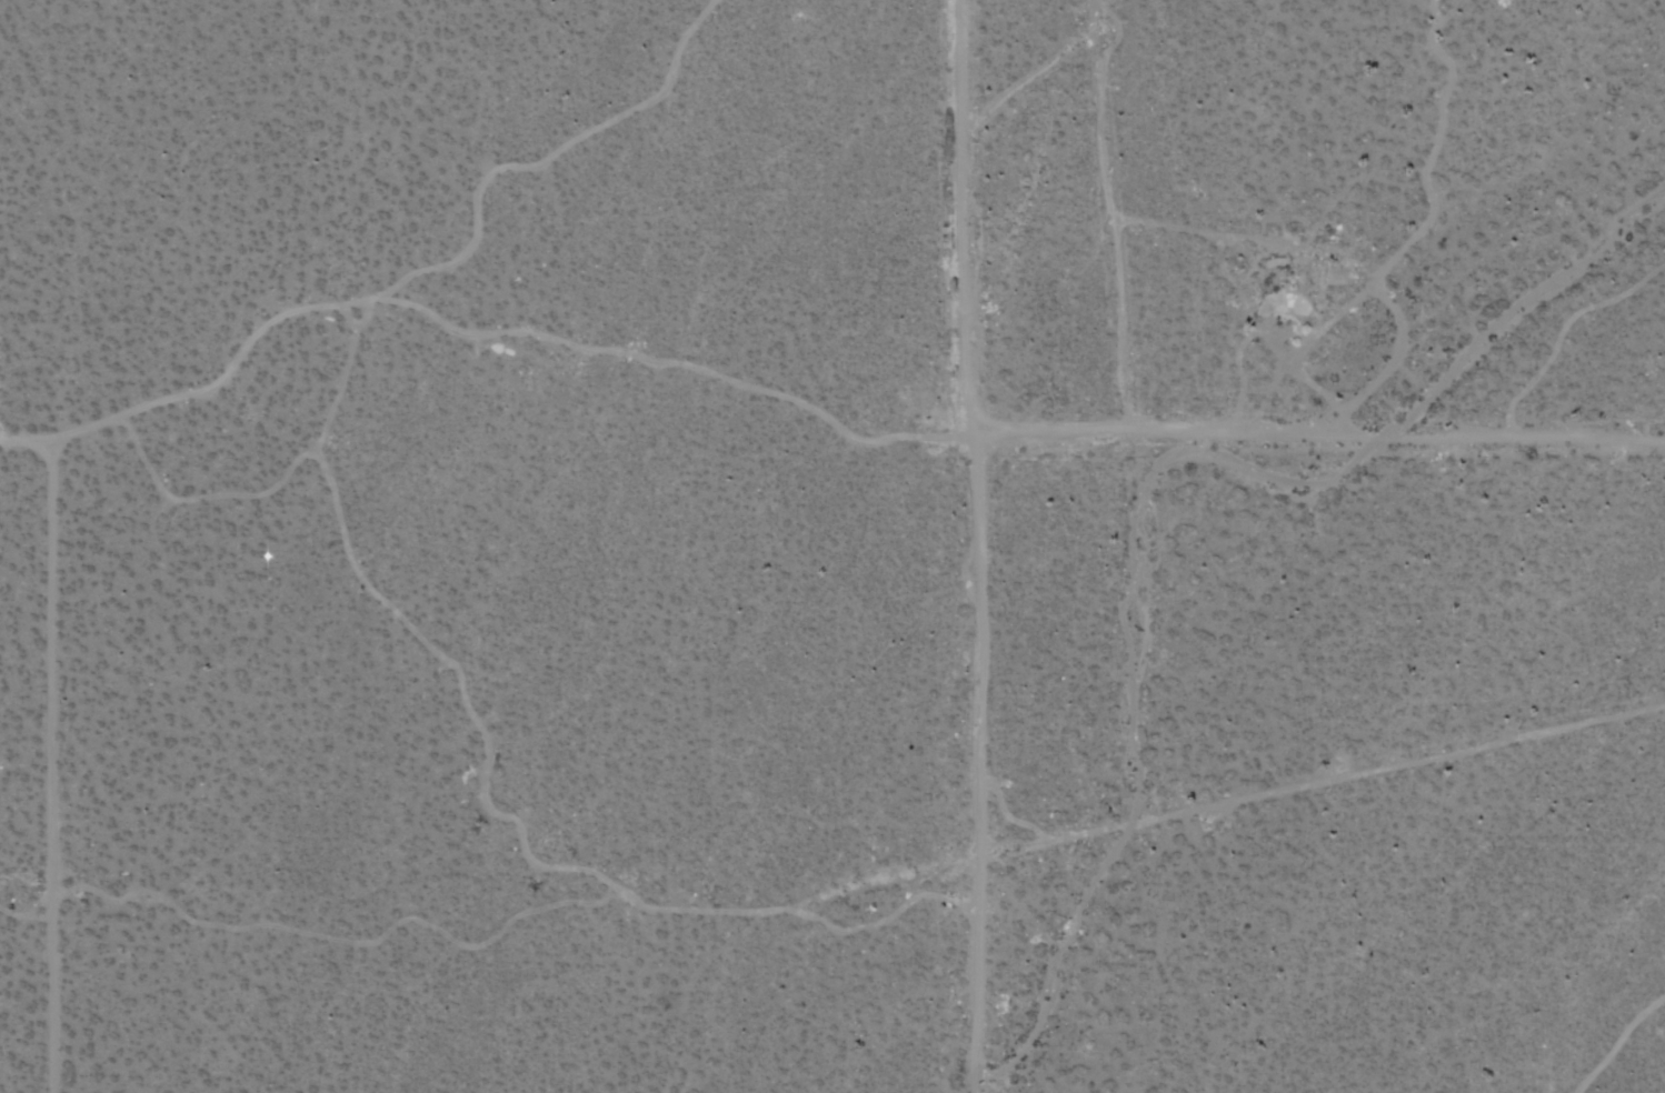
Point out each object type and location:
road: (1527, 309)
road: (973, 427)
road: (976, 973)

